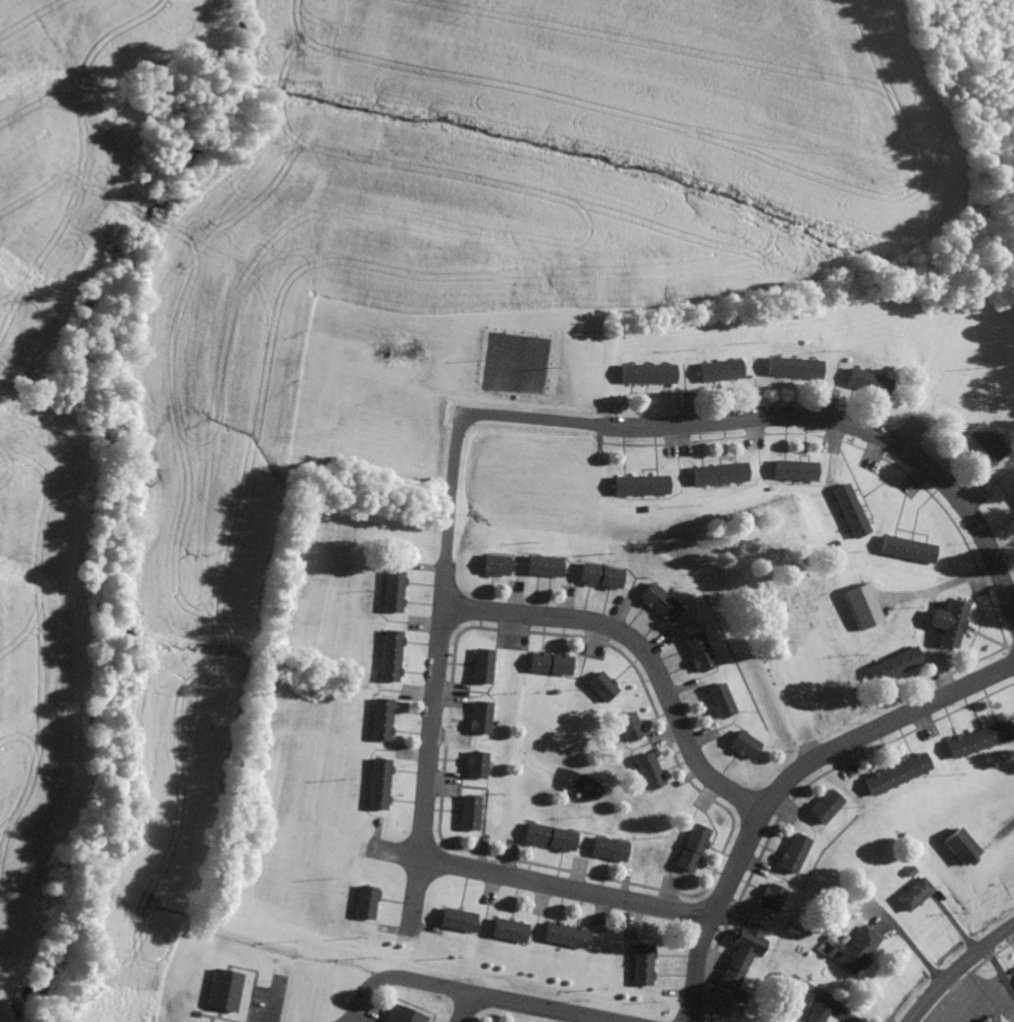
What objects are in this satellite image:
building: (789, 369)
building: (716, 372)
building: (642, 375)
building: (863, 384)
road: (770, 418)
building: (983, 443)
building: (789, 472)
building: (714, 475)
building: (635, 486)
building: (1012, 495)
building: (846, 512)
building: (904, 550)
building: (492, 566)
building: (540, 567)
building: (596, 577)
building: (390, 594)
building: (655, 604)
building: (858, 608)
park: (785, 622)
building: (945, 626)
road: (640, 651)
building: (695, 653)
building: (387, 658)
building: (547, 665)
building: (889, 667)
building: (480, 668)
building: (599, 688)
road: (435, 696)
building: (715, 702)
building: (478, 719)
building: (378, 721)
building: (626, 728)
building: (974, 741)
building: (740, 746)
building: (474, 766)
building: (644, 773)
building: (891, 775)
road: (783, 784)
building: (376, 786)
building: (821, 808)
building: (467, 814)
building: (546, 839)
building: (957, 849)
building: (688, 850)
building: (605, 851)
road: (394, 853)
building: (789, 855)
road: (564, 890)
building: (910, 897)
building: (768, 900)
building: (363, 905)
building: (454, 922)
building: (504, 932)
building: (560, 936)
building: (854, 952)
building: (738, 955)
building: (639, 966)
road: (955, 967)
road: (998, 969)
building: (222, 992)
road: (476, 993)
road: (961, 1000)
road: (278, 1002)
road: (463, 1007)
building: (814, 1010)
building: (399, 1016)
building: (993, 1019)
building: (979, 1020)
building: (983, 1020)

